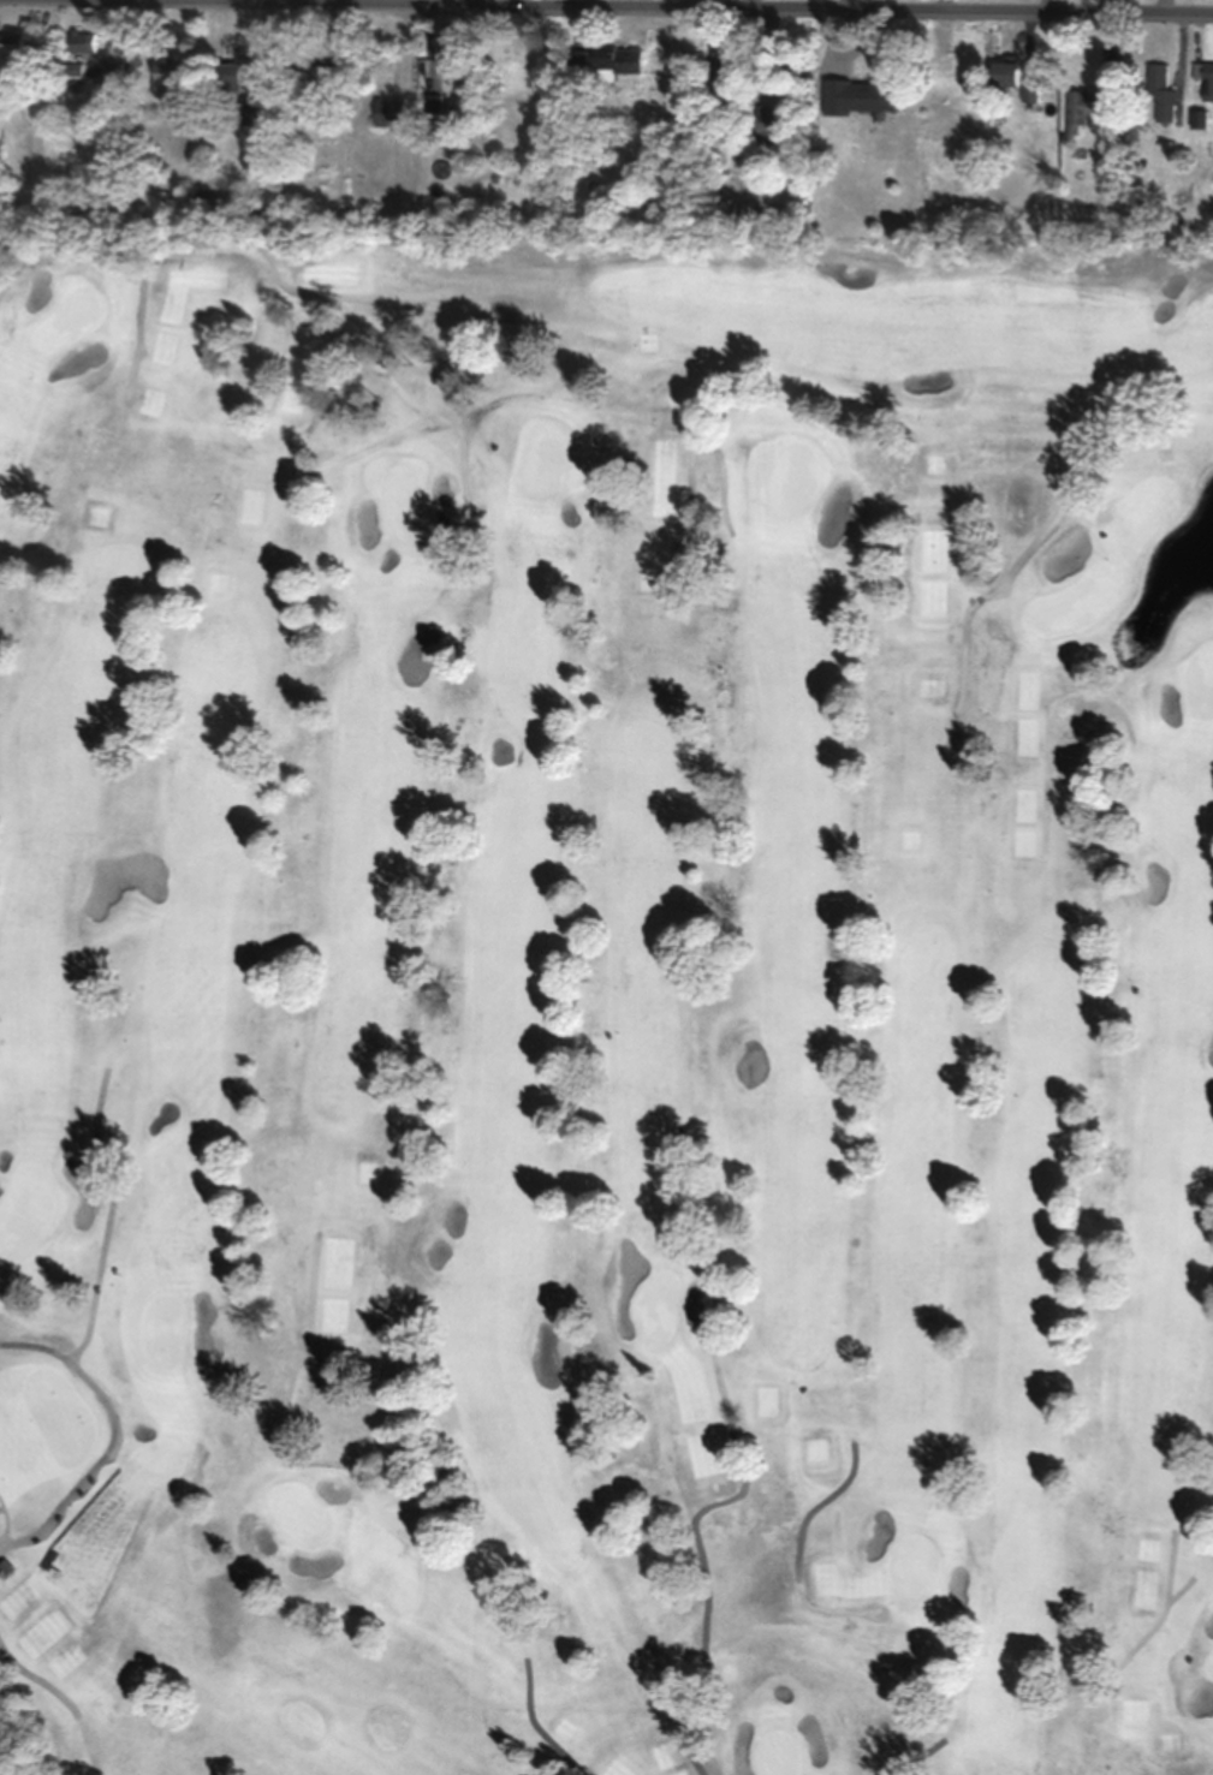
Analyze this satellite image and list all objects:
road: (1043, 4)
building: (83, 41)
building: (12, 43)
building: (450, 50)
building: (606, 59)
building: (73, 69)
building: (1004, 71)
building: (113, 72)
building: (228, 76)
building: (310, 76)
building: (1203, 77)
building: (167, 78)
building: (1030, 90)
building: (1160, 91)
building: (861, 94)
building: (434, 102)
building: (1080, 107)
building: (254, 109)
building: (388, 111)
building: (1199, 117)
road: (143, 242)
road: (296, 290)
road: (383, 298)
park: (65, 320)
road: (325, 370)
park: (546, 453)
park: (796, 477)
park: (405, 504)
road: (680, 532)
park: (1077, 602)
road: (950, 607)
park: (1200, 679)
road: (1063, 695)
park: (606, 996)
park: (30, 1204)
park: (1, 1253)
park: (660, 1306)
park: (166, 1328)
road: (292, 1335)
building: (40, 1443)
park: (298, 1513)
road: (72, 1515)
road: (843, 1561)
park: (917, 1565)
road: (706, 1592)
road: (534, 1726)
park: (781, 1753)

